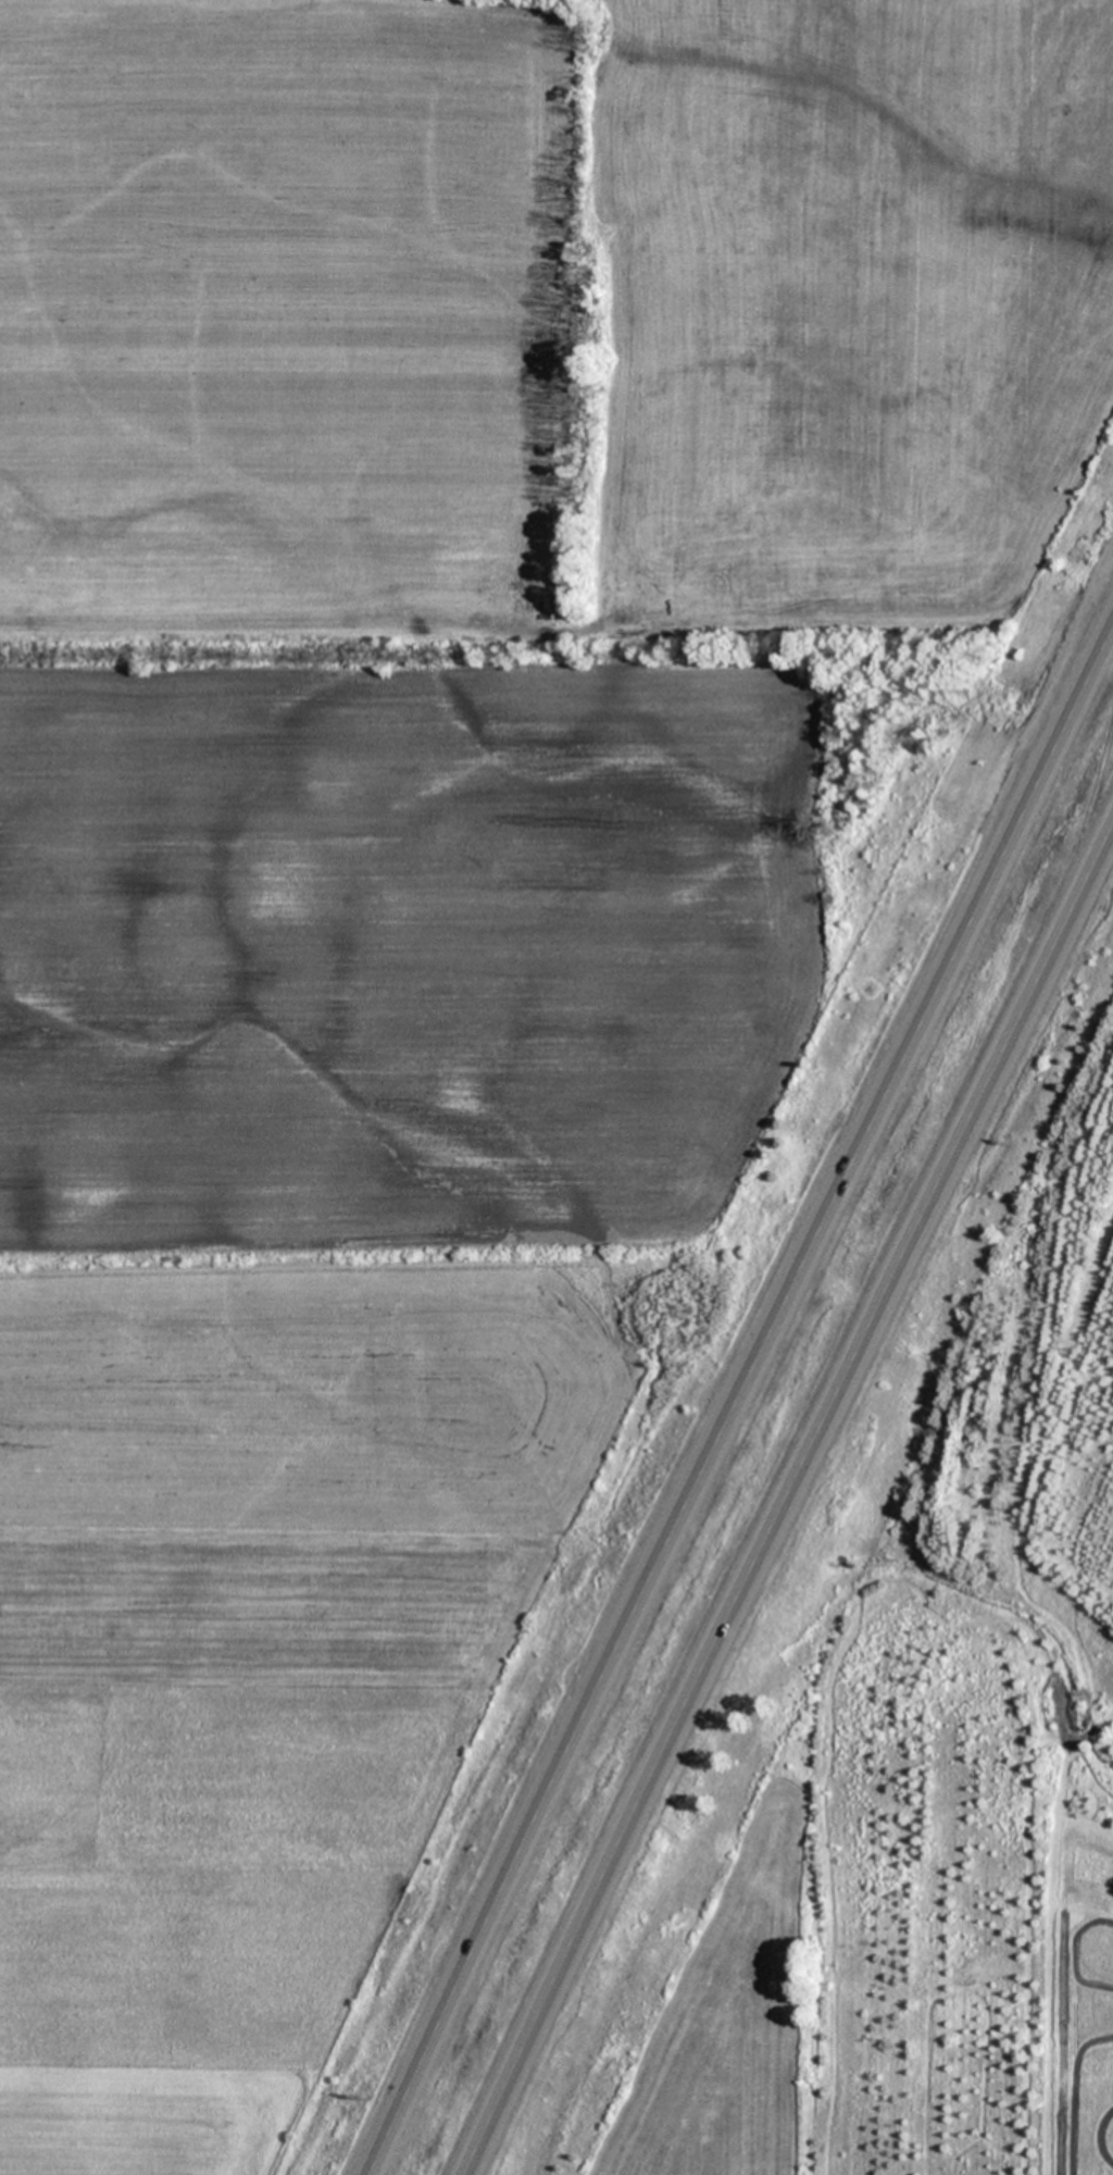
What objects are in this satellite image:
road: (736, 1399)
road: (787, 1495)

